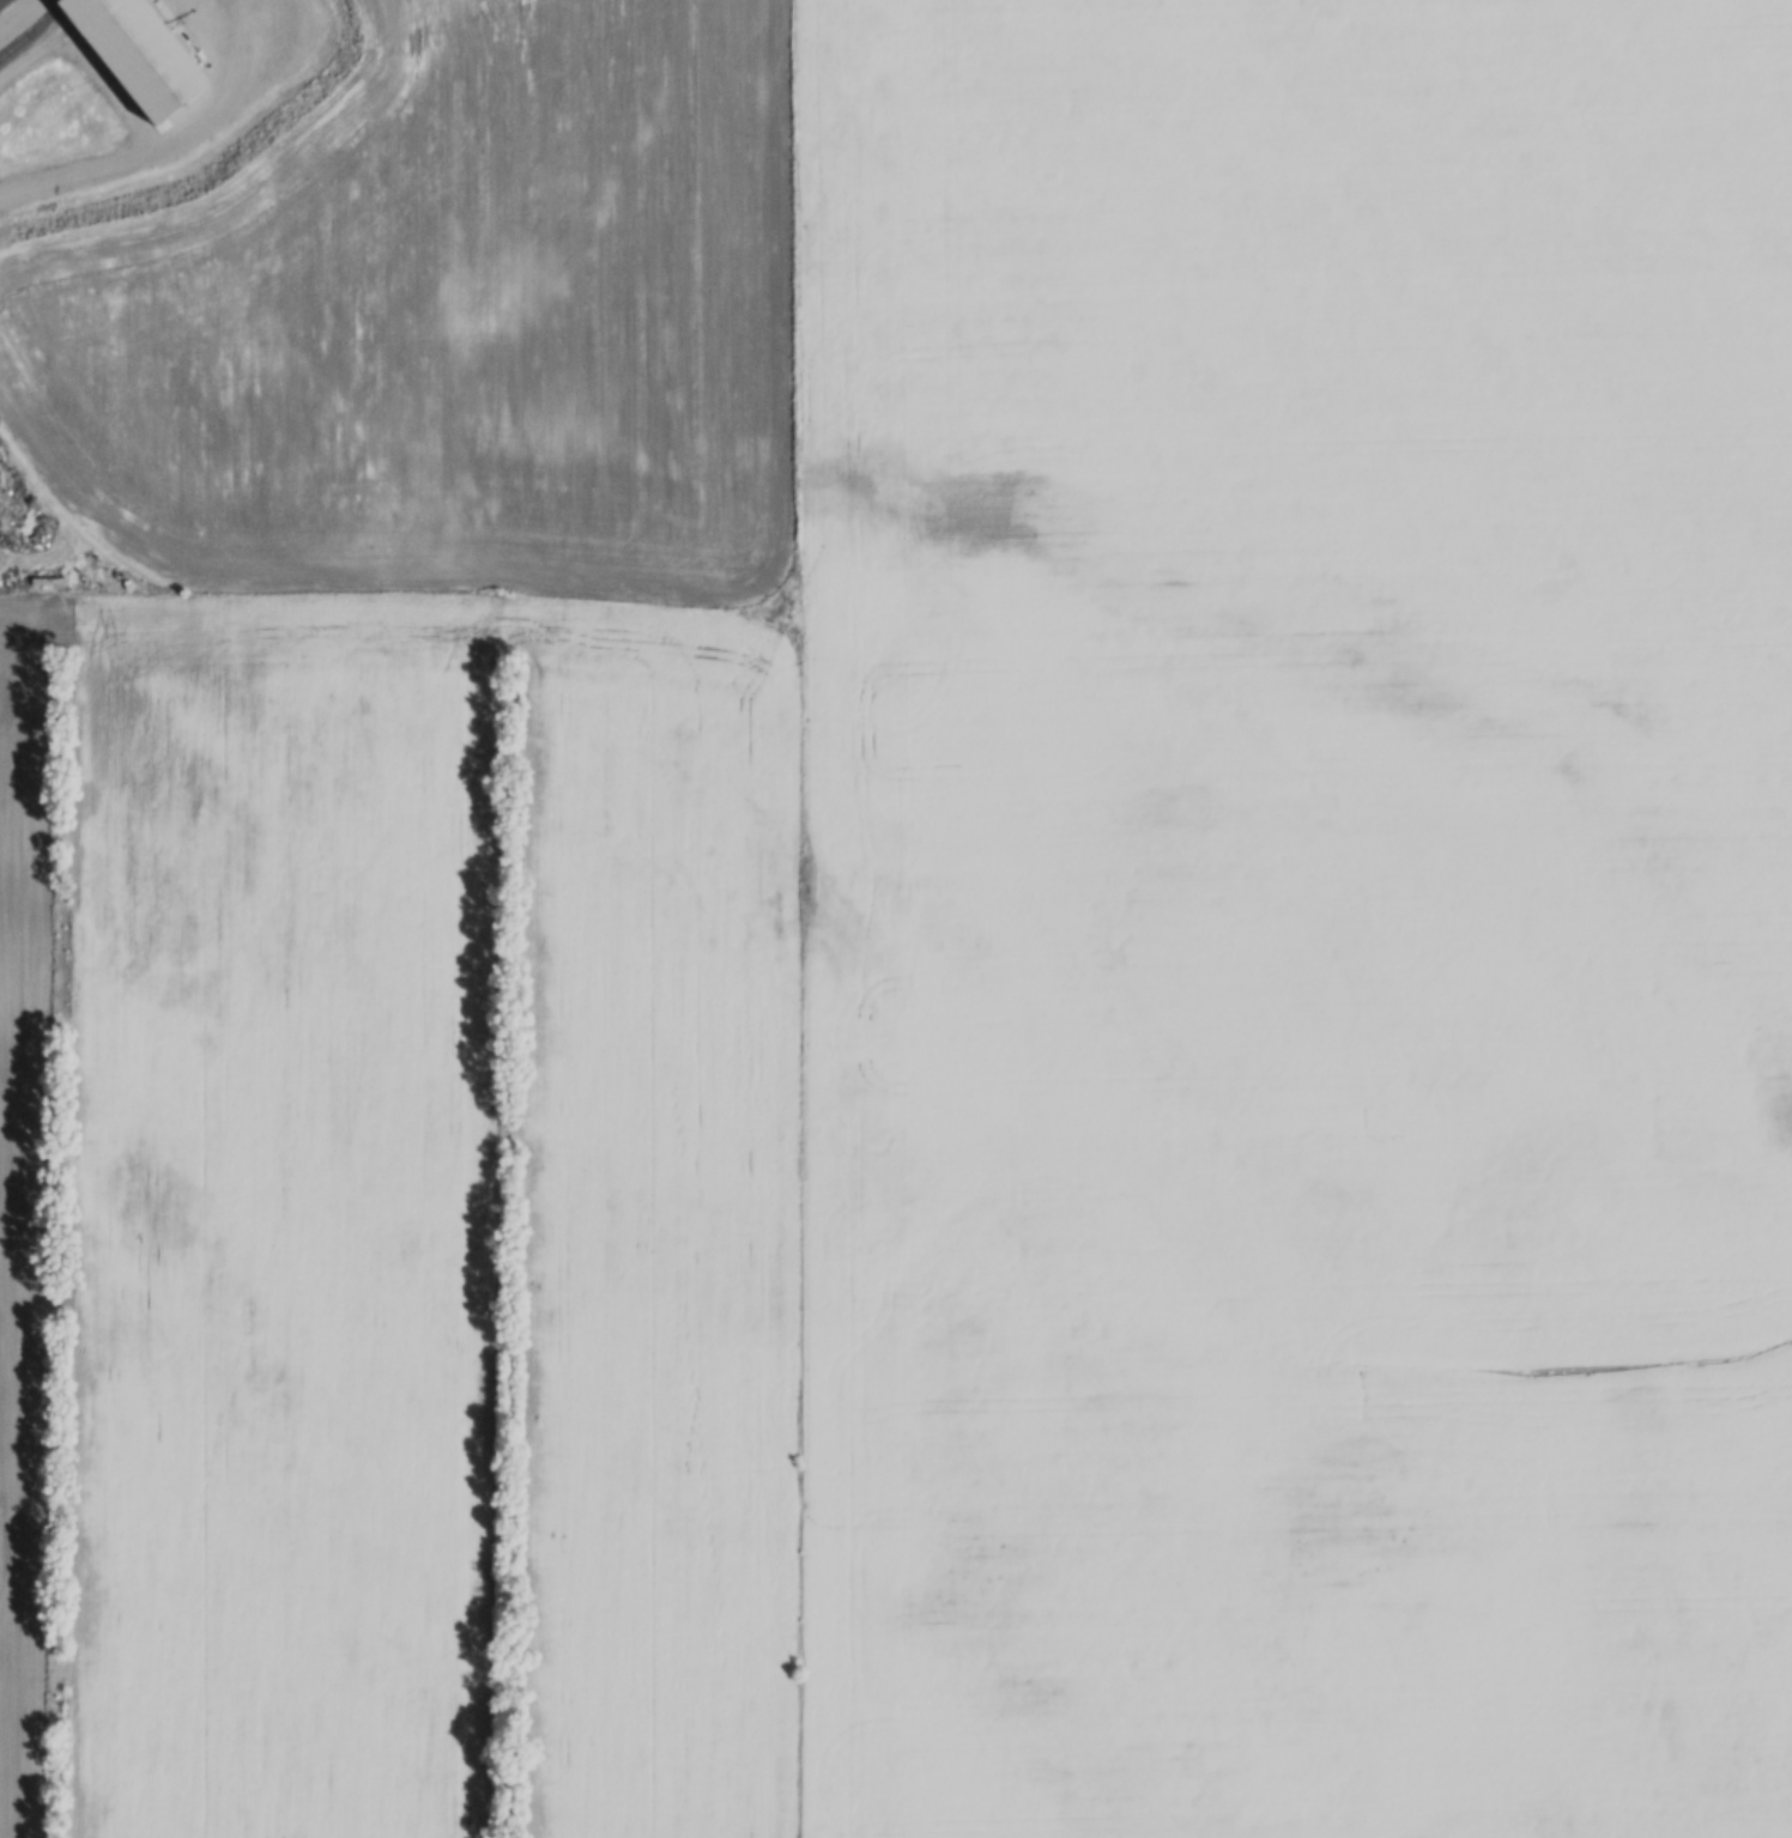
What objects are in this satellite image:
crop: (410, 297)

